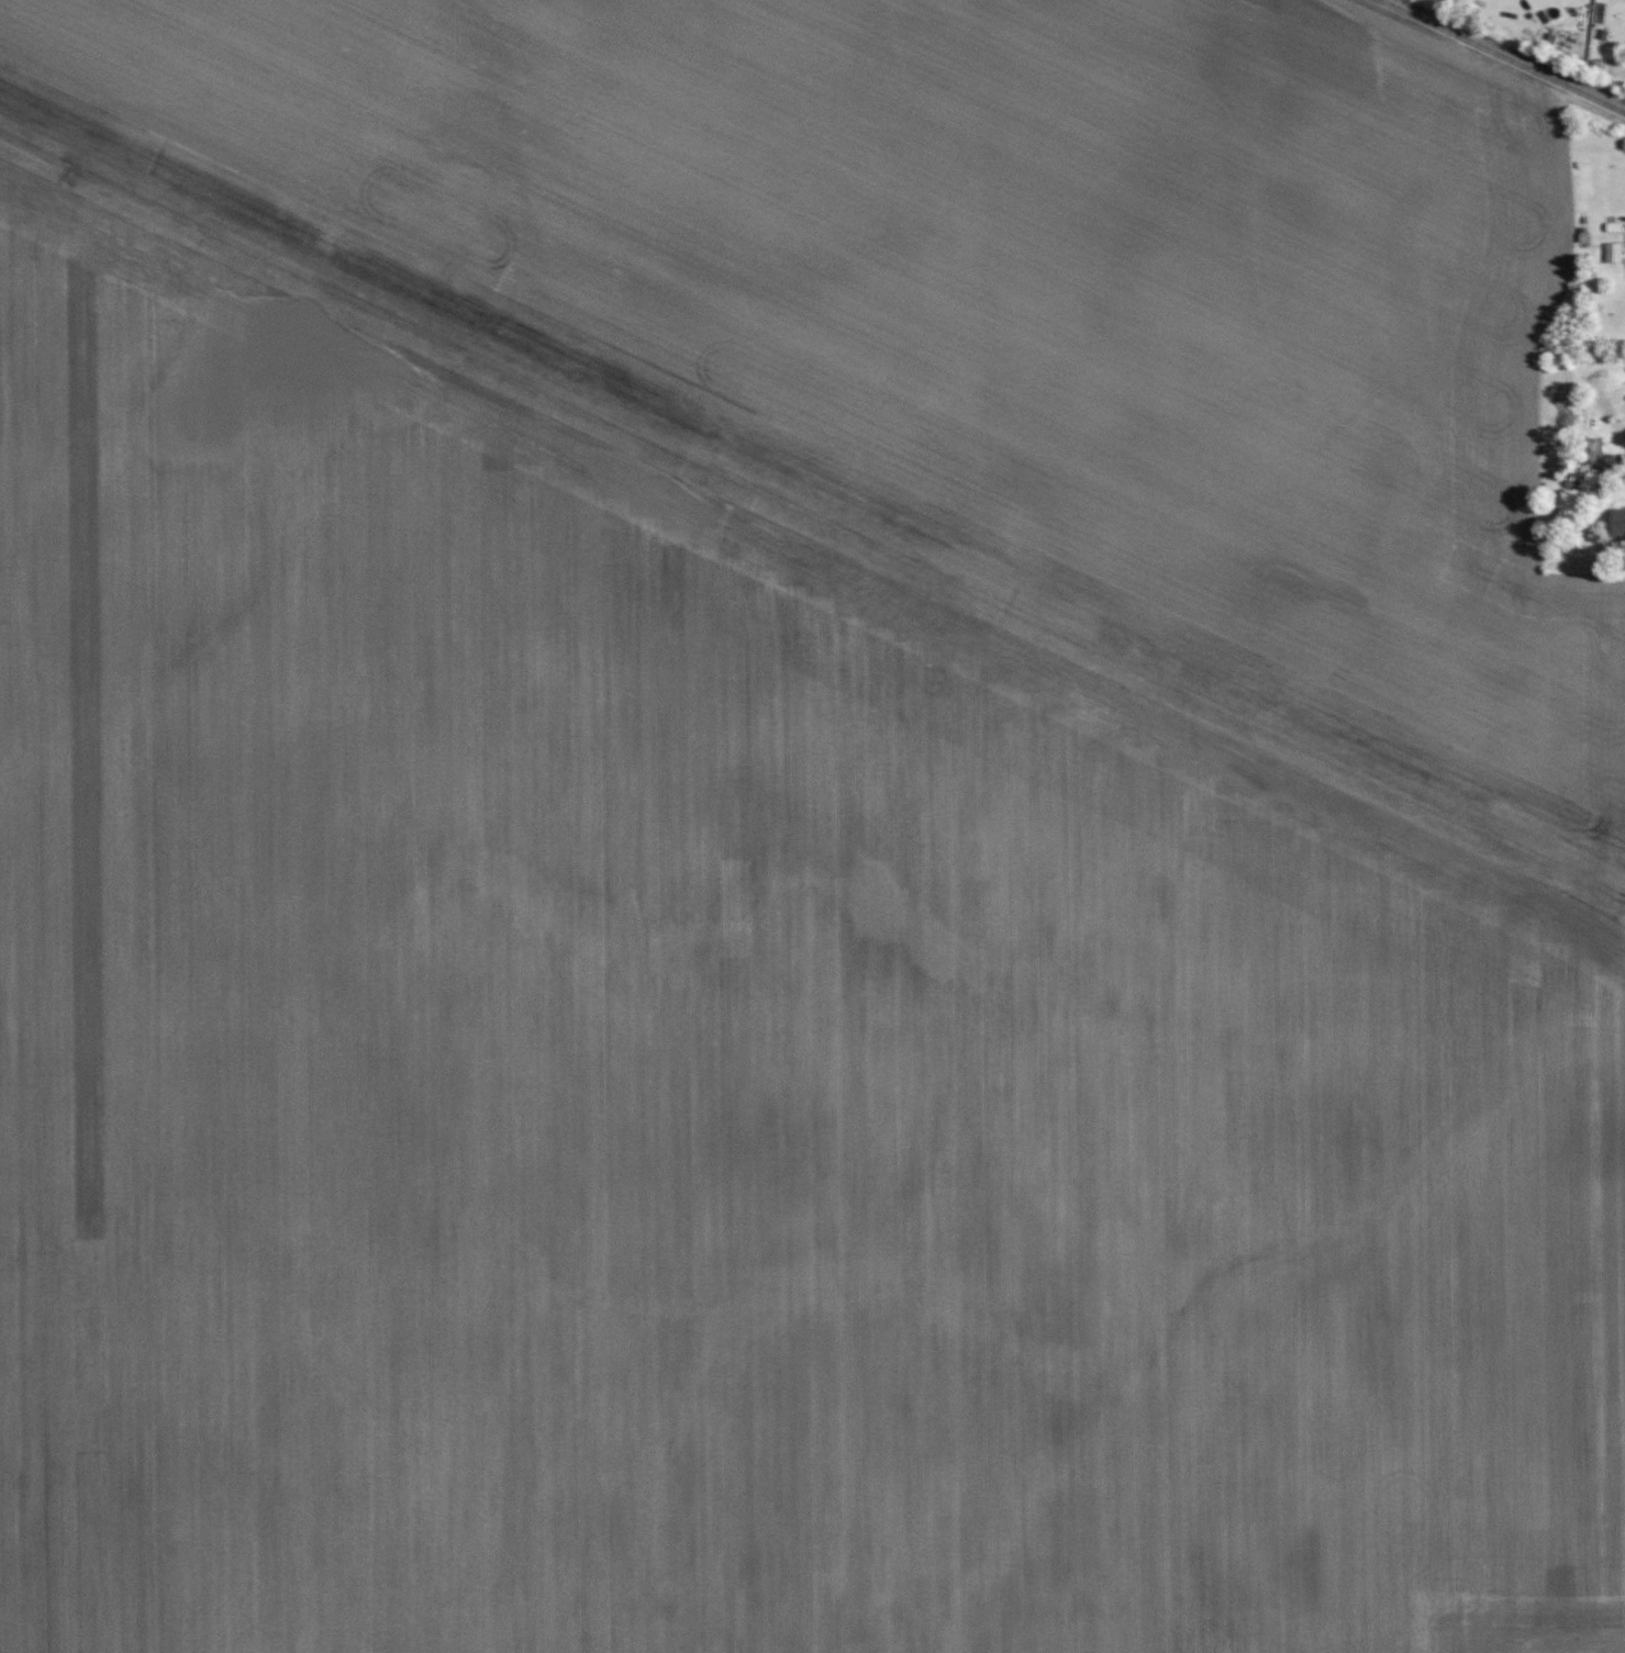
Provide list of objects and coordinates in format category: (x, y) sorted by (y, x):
railway: (1501, 55)
building: (1611, 252)
building: (1590, 451)

